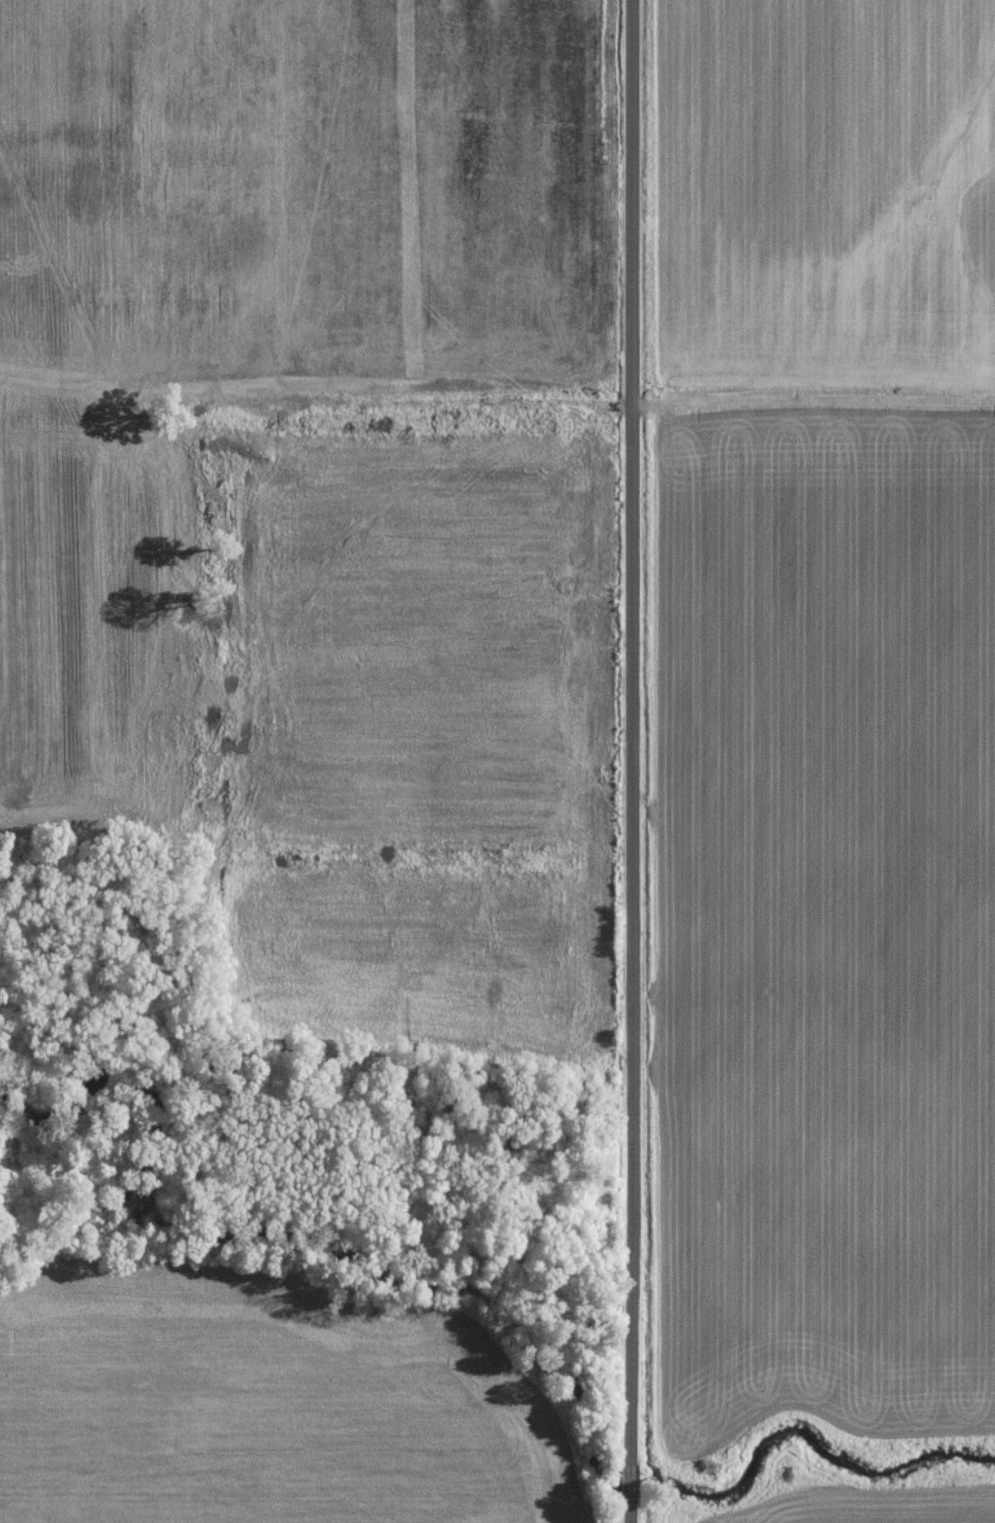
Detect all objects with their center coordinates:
road: (628, 732)
road: (628, 1483)
road: (627, 1512)

